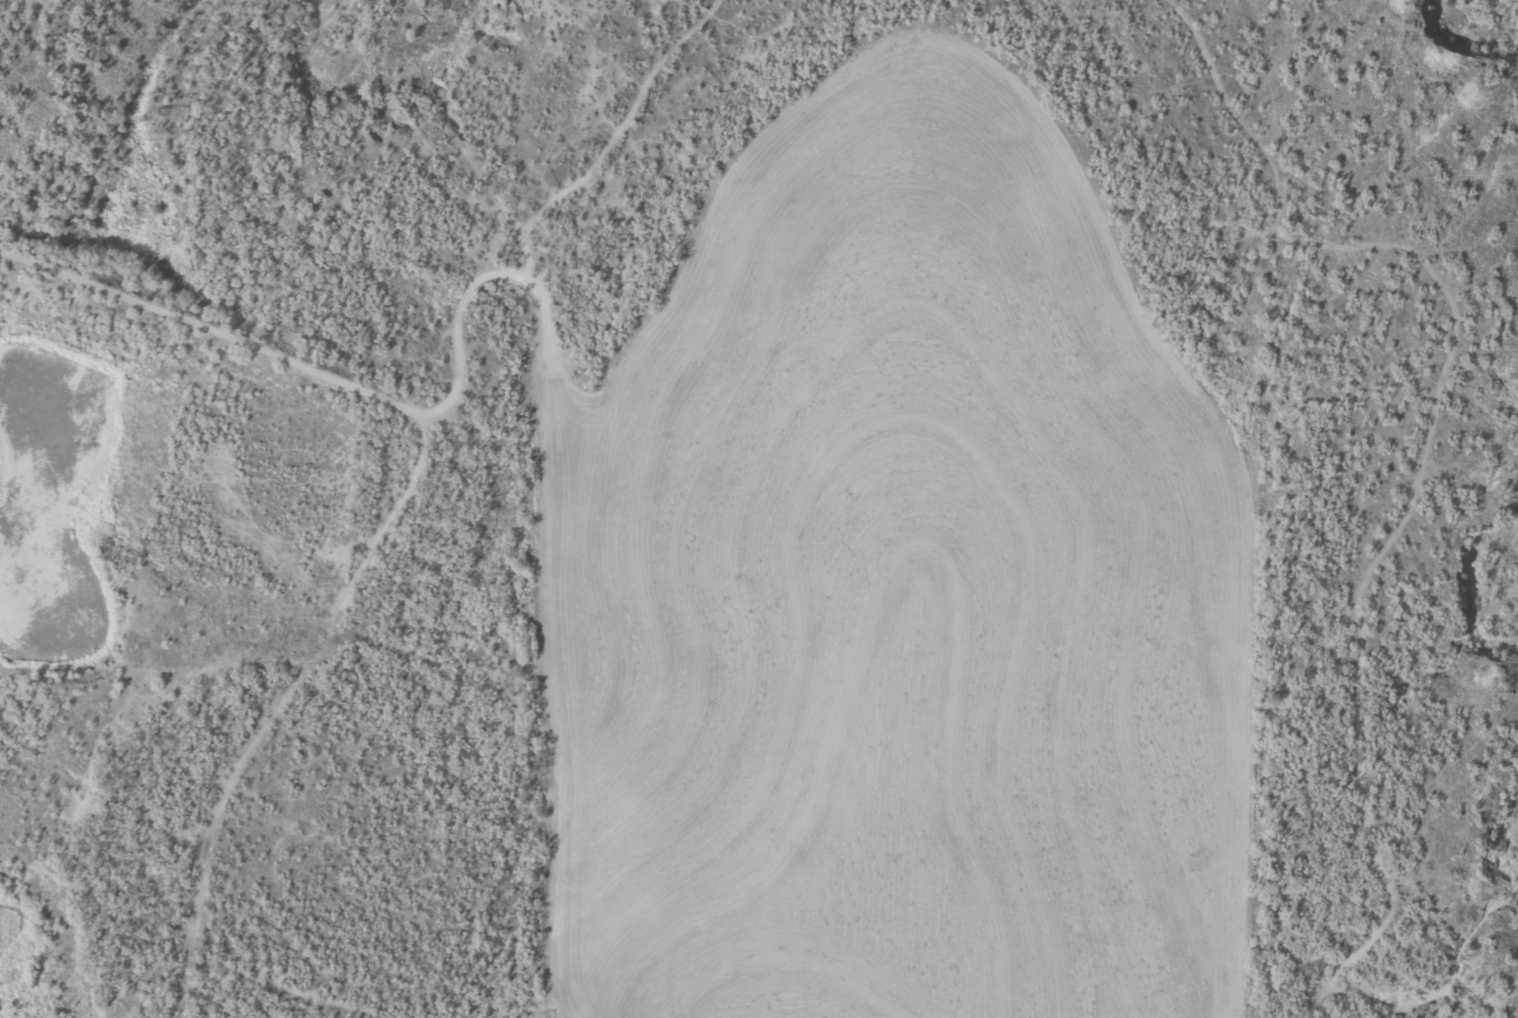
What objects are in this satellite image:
road: (412, 595)

